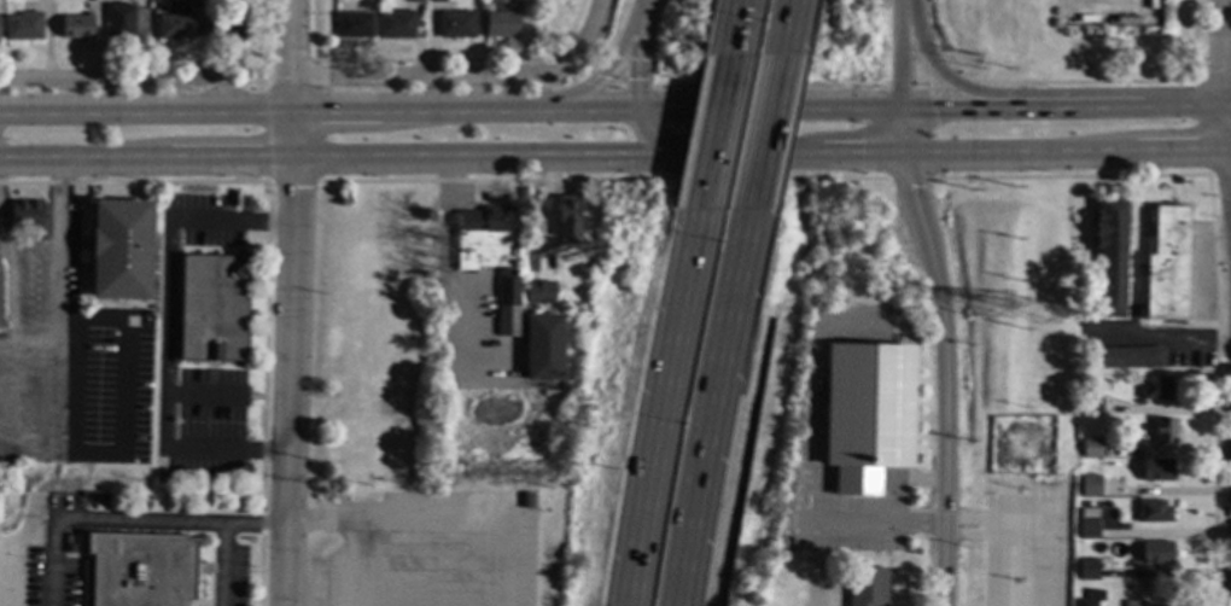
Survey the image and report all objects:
building: (523, 0)
building: (415, 1)
building: (436, 1)
road: (900, 4)
road: (642, 11)
power substation: (1110, 13)
building: (501, 18)
building: (119, 21)
building: (395, 24)
building: (456, 24)
building: (23, 25)
building: (354, 25)
building: (76, 27)
building: (174, 27)
building: (224, 27)
road: (735, 27)
road: (783, 27)
street lamp: (755, 28)
road: (577, 48)
road: (899, 54)
road: (553, 62)
road: (640, 63)
road: (609, 66)
road: (935, 72)
road: (409, 74)
road: (574, 75)
road: (119, 82)
road: (594, 82)
road: (613, 86)
road: (636, 87)
road: (1220, 92)
road: (1064, 98)
traffic signals: (899, 100)
road: (769, 101)
traffic signals: (640, 104)
road: (319, 105)
road: (900, 113)
road: (649, 132)
road: (714, 132)
road: (763, 132)
road: (268, 134)
traffic signals: (904, 152)
road: (614, 153)
traffic signals: (671, 153)
building: (27, 216)
building: (568, 218)
street lamp: (717, 226)
building: (121, 250)
building: (492, 257)
building: (1110, 260)
road: (444, 262)
building: (1167, 266)
building: (541, 292)
power tower: (1002, 296)
road: (288, 302)
power tower: (1060, 303)
building: (0, 308)
building: (214, 308)
road: (163, 334)
road: (60, 338)
road: (1173, 342)
road: (4, 345)
building: (543, 346)
building: (1125, 359)
road: (946, 363)
building: (1157, 389)
road: (69, 397)
building: (867, 404)
road: (657, 406)
road: (708, 406)
building: (1091, 406)
street lamp: (678, 414)
building: (1165, 432)
building: (1092, 448)
building: (1159, 471)
road: (794, 472)
building: (1090, 486)
building: (527, 501)
building: (836, 502)
building: (1156, 512)
road: (439, 514)
road: (92, 519)
building: (1090, 529)
road: (220, 531)
building: (1156, 553)
road: (356, 559)
building: (144, 570)
building: (1089, 570)
building: (867, 587)
building: (794, 590)
building: (1092, 599)
building: (1133, 604)
street lamp: (647, 605)

